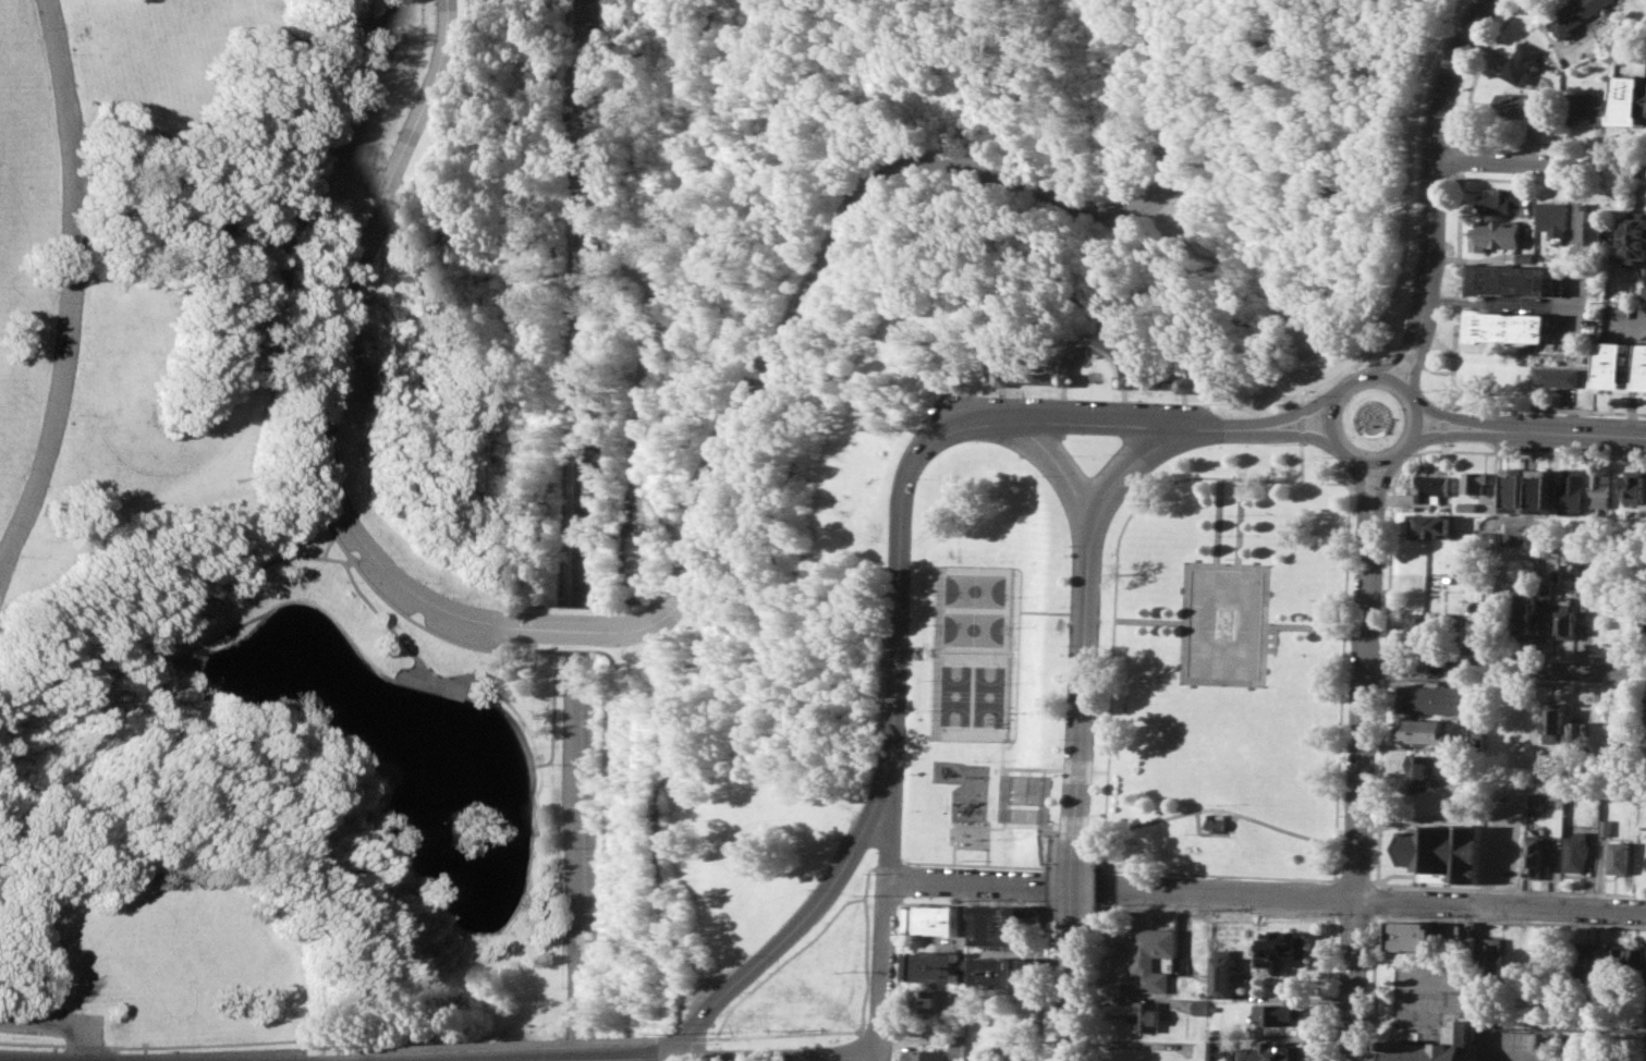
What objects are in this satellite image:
building: (1573, 15)
road: (1552, 39)
building: (1595, 49)
building: (1524, 60)
building: (1631, 99)
building: (1520, 102)
building: (1586, 107)
road: (1436, 121)
road: (1553, 145)
road: (1539, 161)
road: (1553, 180)
road: (867, 192)
road: (1461, 194)
building: (1504, 202)
building: (1554, 217)
building: (1589, 223)
building: (1495, 234)
building: (1633, 240)
building: (1525, 257)
road: (1403, 270)
building: (1512, 278)
road: (69, 286)
building: (1644, 292)
road: (1509, 303)
road: (1412, 324)
building: (1511, 326)
road: (1428, 327)
road: (1109, 345)
road: (324, 354)
road: (1411, 357)
building: (1122, 362)
building: (1612, 364)
building: (1643, 366)
building: (1004, 375)
road: (1354, 376)
building: (1558, 376)
road: (1392, 378)
road: (1066, 379)
road: (1120, 380)
road: (1057, 381)
building: (1184, 382)
road: (1187, 382)
road: (1131, 386)
road: (562, 388)
road: (1002, 399)
road: (1062, 400)
road: (1124, 402)
road: (1523, 407)
road: (1328, 408)
road: (1296, 411)
road: (1463, 417)
road: (1416, 419)
road: (1081, 420)
road: (1582, 431)
road: (1294, 432)
road: (1301, 434)
road: (1463, 434)
road: (1337, 444)
road: (1404, 448)
road: (1368, 462)
park: (574, 465)
road: (1064, 473)
building: (1475, 481)
road: (1370, 486)
building: (1431, 486)
road: (1362, 487)
building: (1636, 487)
building: (1515, 489)
building: (1602, 489)
road: (1379, 490)
building: (1543, 490)
building: (1574, 491)
building: (1467, 505)
flagpole: (1229, 513)
road: (1218, 520)
road: (1239, 521)
building: (1430, 525)
road: (581, 530)
building: (1515, 537)
road: (320, 545)
road: (1390, 547)
road: (1498, 549)
road: (1572, 550)
road: (1117, 557)
building: (1582, 568)
road: (383, 601)
road: (898, 603)
road: (1085, 607)
park: (973, 609)
road: (1016, 610)
road: (1019, 610)
road: (1065, 611)
building: (1545, 613)
road: (254, 614)
building: (1523, 615)
building: (1566, 619)
road: (1149, 620)
road: (381, 622)
fountain: (1224, 622)
road: (1304, 625)
building: (1644, 625)
building: (1426, 626)
road: (575, 630)
building: (1478, 633)
road: (1515, 654)
park: (985, 659)
park: (1227, 663)
road: (1504, 667)
road: (424, 673)
road: (1013, 678)
road: (1261, 681)
road: (1341, 681)
road: (1515, 681)
road: (1266, 684)
park: (970, 694)
building: (1438, 699)
road: (1362, 714)
building: (1556, 725)
building: (1423, 730)
building: (1580, 735)
road: (1053, 769)
road: (1077, 769)
road: (1101, 770)
building: (1418, 771)
road: (1590, 788)
road: (1043, 801)
road: (1222, 808)
road: (889, 821)
road: (1002, 824)
building: (1216, 824)
building: (1605, 826)
road: (963, 827)
road: (1076, 828)
road: (1216, 832)
building: (968, 833)
building: (1575, 851)
building: (1443, 852)
road: (954, 853)
building: (1535, 856)
building: (1618, 856)
road: (1046, 865)
road: (1106, 867)
road: (1218, 874)
road: (967, 881)
road: (1511, 889)
road: (1228, 891)
road: (1378, 898)
road: (1500, 903)
road: (441, 912)
building: (972, 912)
street lamp: (1308, 912)
building: (937, 919)
road: (1510, 919)
road: (798, 920)
street lamp: (1368, 923)
building: (1003, 926)
road: (1043, 934)
building: (1415, 935)
road: (1100, 939)
building: (1468, 939)
road: (1070, 948)
building: (1282, 950)
building: (1495, 953)
building: (1515, 954)
building: (1151, 956)
road: (785, 960)
road: (899, 961)
building: (1583, 961)
building: (1622, 961)
building: (1638, 961)
building: (1604, 962)
road: (866, 963)
road: (881, 965)
building: (932, 965)
road: (1331, 971)
building: (1002, 972)
building: (1222, 972)
road: (1352, 978)
road: (1373, 987)
building: (931, 1000)
building: (1198, 1007)
building: (1277, 1013)
building: (1145, 1015)
road: (1394, 1016)
road: (59, 1022)
road: (1505, 1024)
street lamp: (1364, 1027)
road: (1397, 1032)
road: (514, 1042)
road: (188, 1044)
building: (1645, 1044)
road: (863, 1045)
building: (1436, 1046)
road: (114, 1048)
road: (322, 1049)
building: (953, 1049)
building: (1272, 1051)
road: (1545, 1052)
building: (1217, 1053)
road: (782, 1054)
road: (113, 1056)
building: (922, 1056)
road: (670, 1057)
road: (322, 1058)
road: (878, 1058)
road: (598, 1059)

